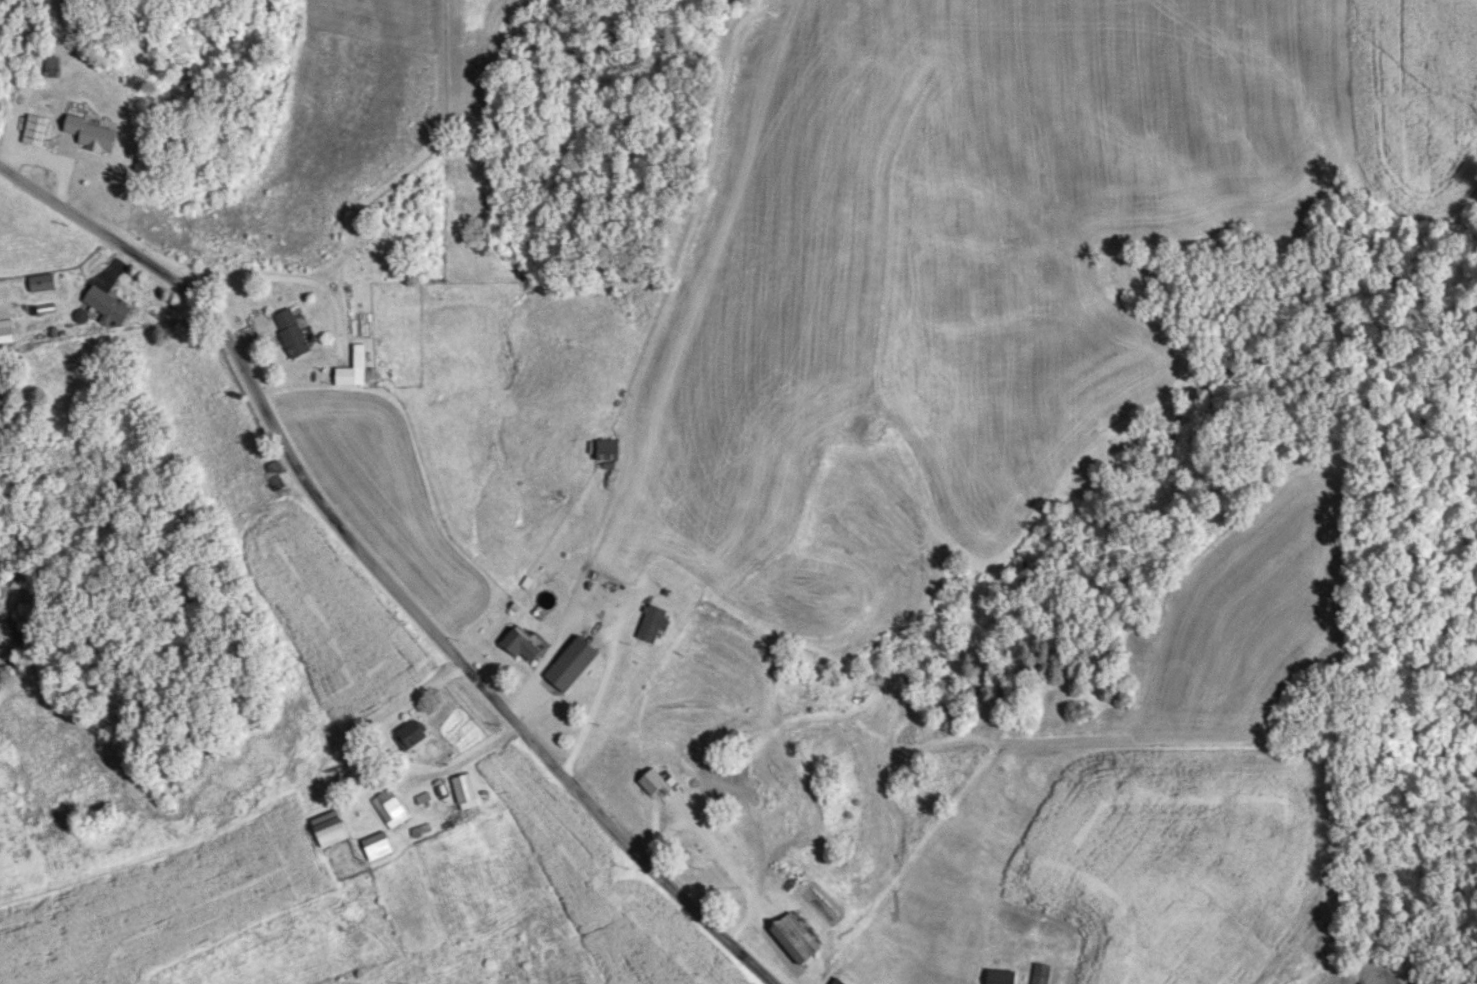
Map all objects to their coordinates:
building: (51, 65)
building: (35, 129)
building: (81, 154)
building: (41, 281)
road: (296, 281)
building: (107, 303)
building: (6, 329)
building: (290, 331)
building: (352, 367)
building: (607, 448)
building: (275, 480)
road: (382, 569)
building: (652, 622)
building: (520, 643)
building: (571, 662)
building: (410, 733)
building: (655, 781)
building: (464, 789)
building: (389, 807)
building: (330, 827)
building: (377, 844)
road: (718, 854)
building: (794, 936)
building: (1040, 973)
building: (1000, 976)
building: (838, 980)

